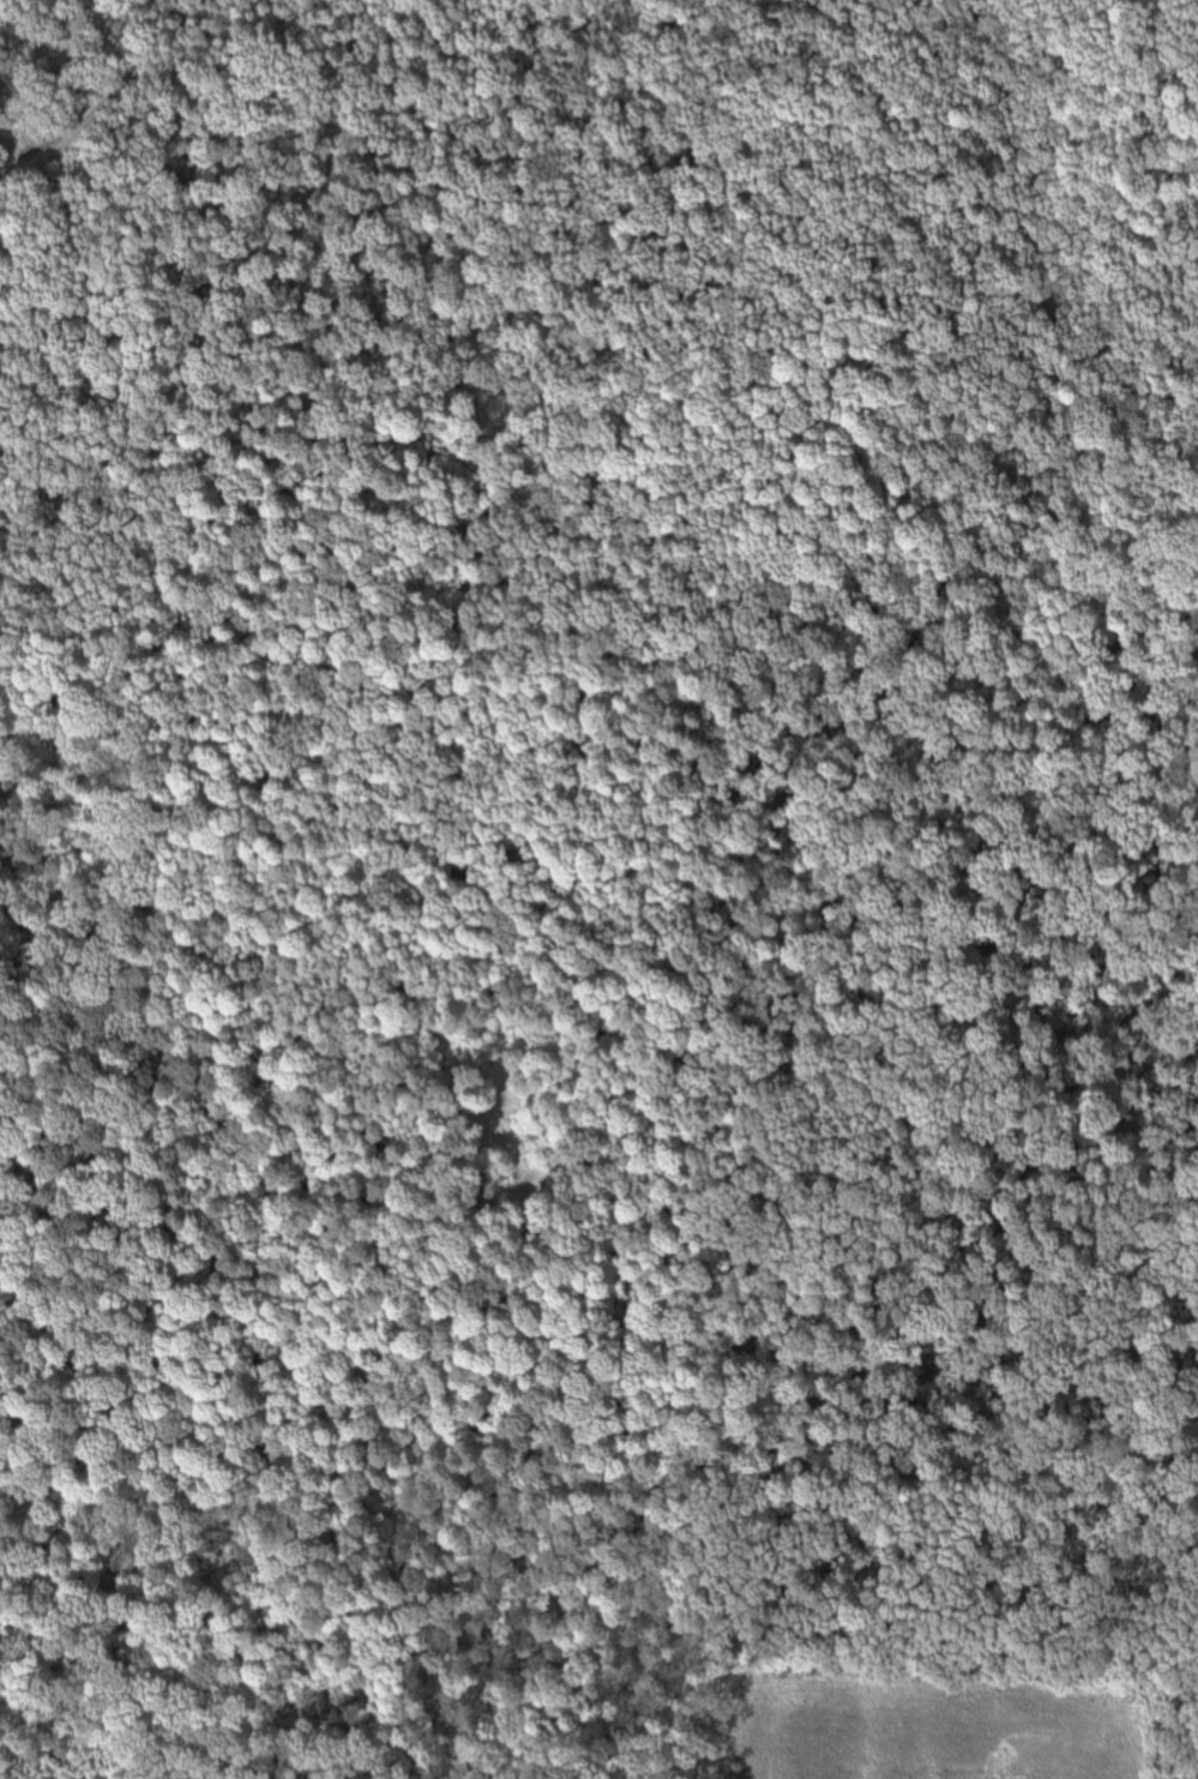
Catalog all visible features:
road: (120, 83)
road: (28, 161)
road: (598, 619)
road: (985, 654)
road: (228, 657)
building: (554, 1158)
building: (517, 1190)
road: (872, 1513)

